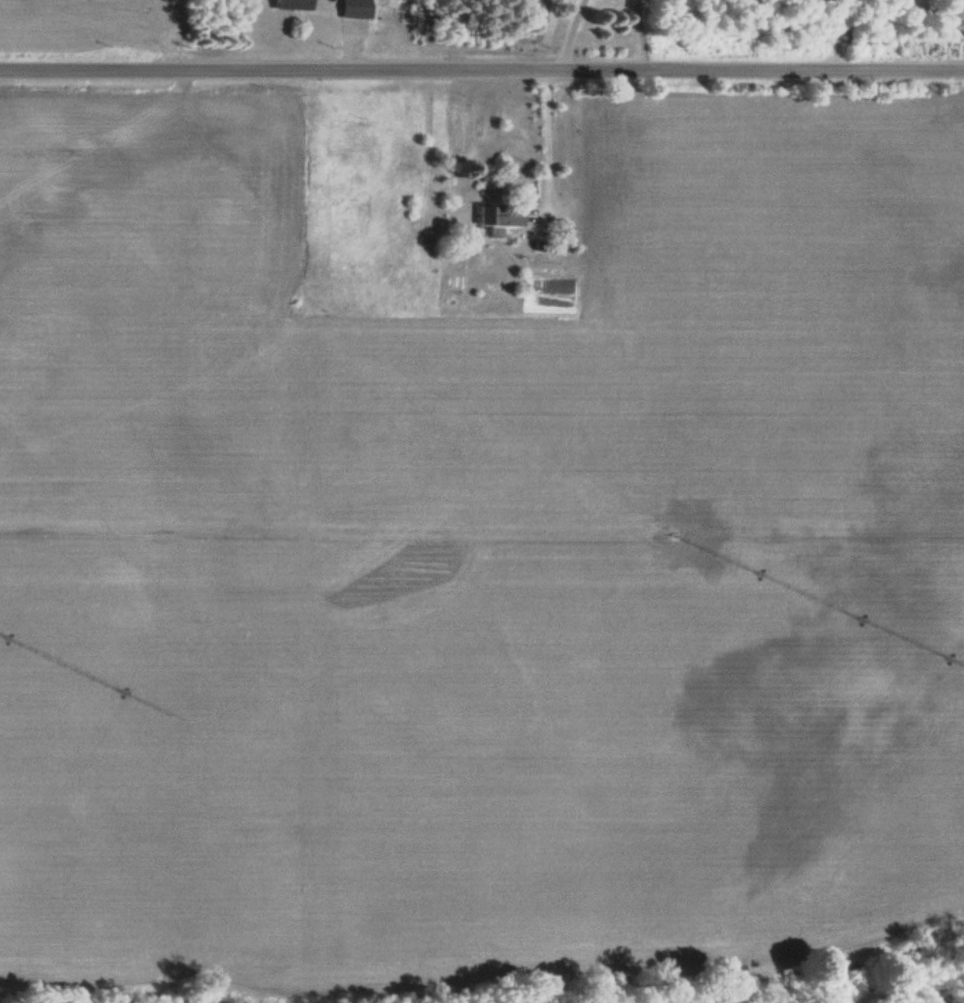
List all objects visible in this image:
building: (953, 3)
building: (285, 4)
building: (350, 8)
building: (884, 34)
road: (482, 56)
building: (497, 216)

